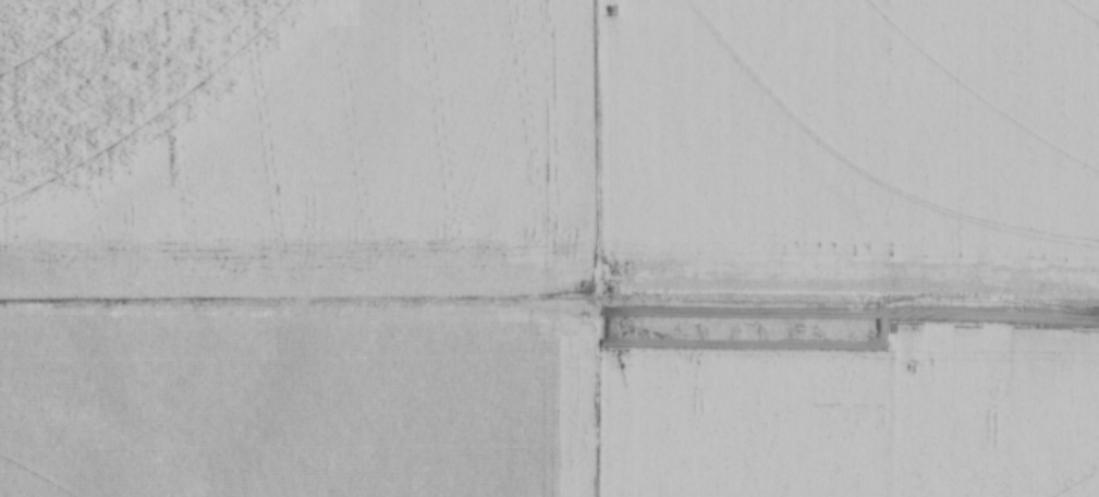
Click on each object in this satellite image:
crop: (549, 248)

